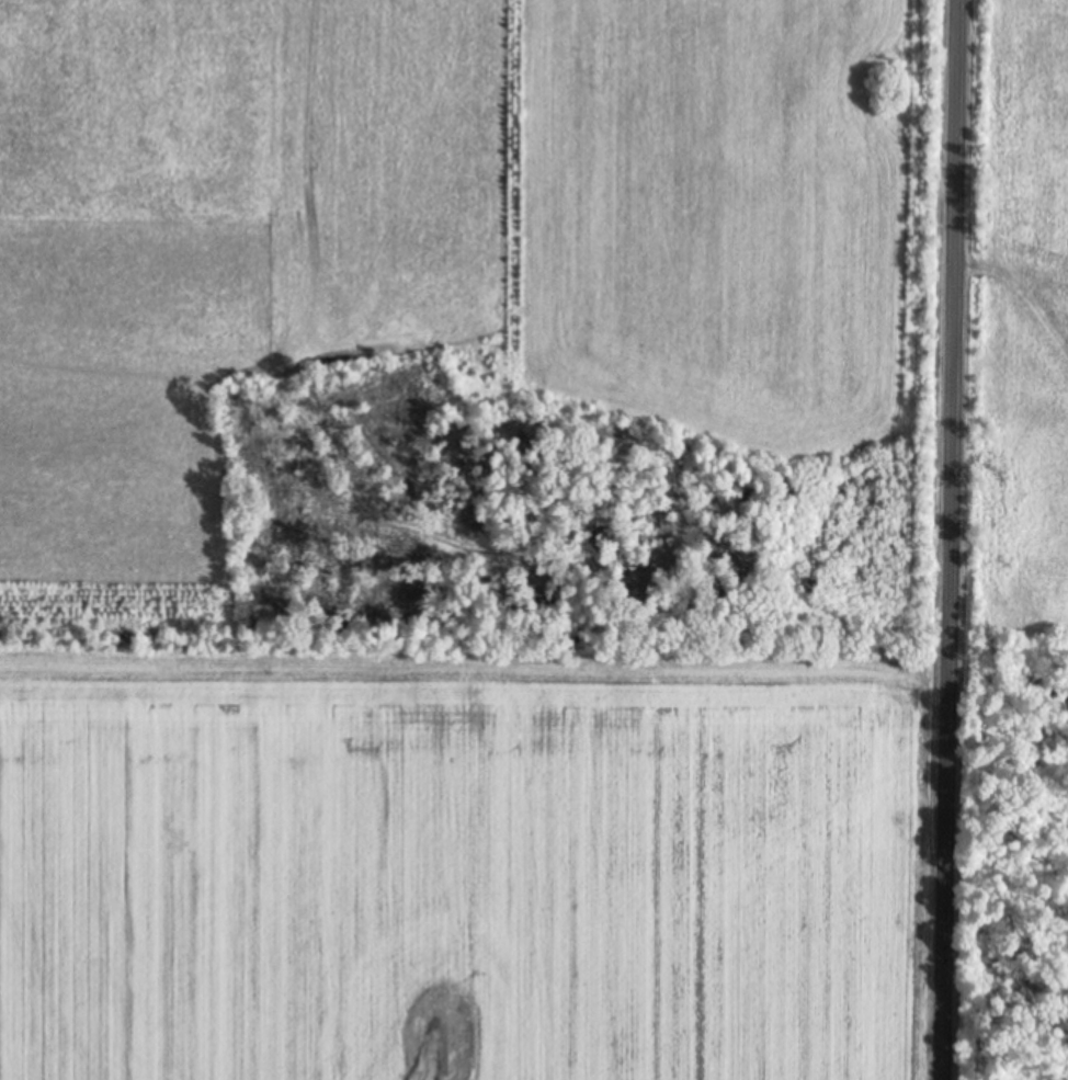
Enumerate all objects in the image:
road: (940, 539)

